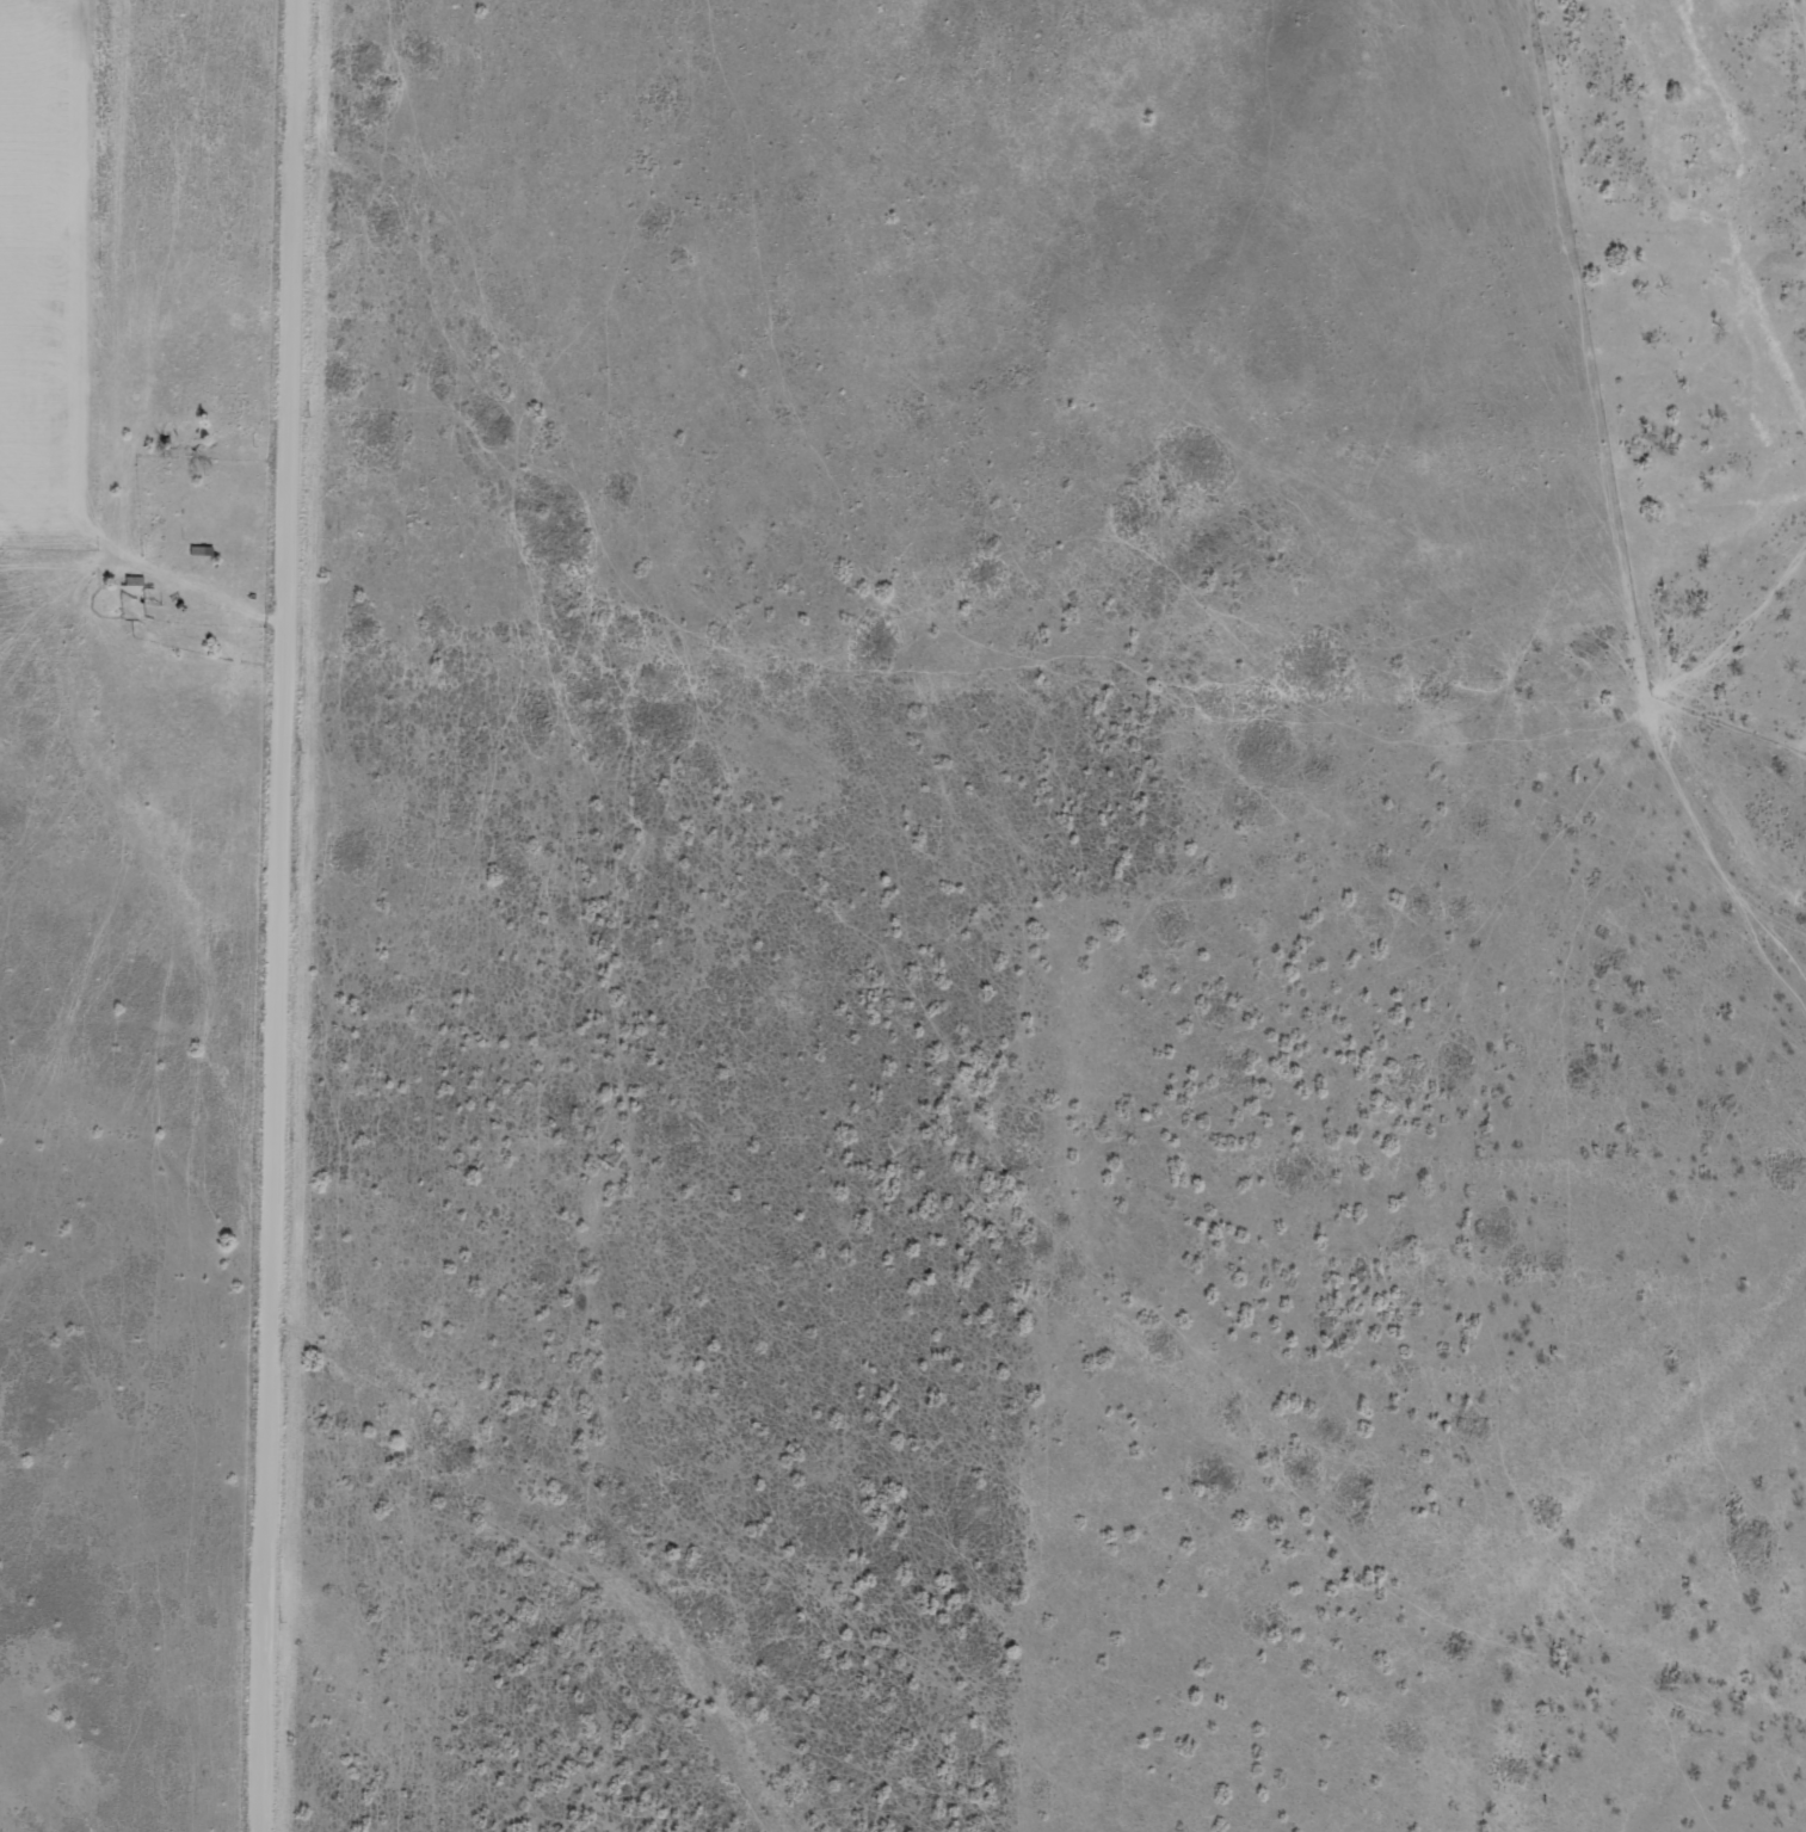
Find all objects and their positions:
road: (281, 915)

